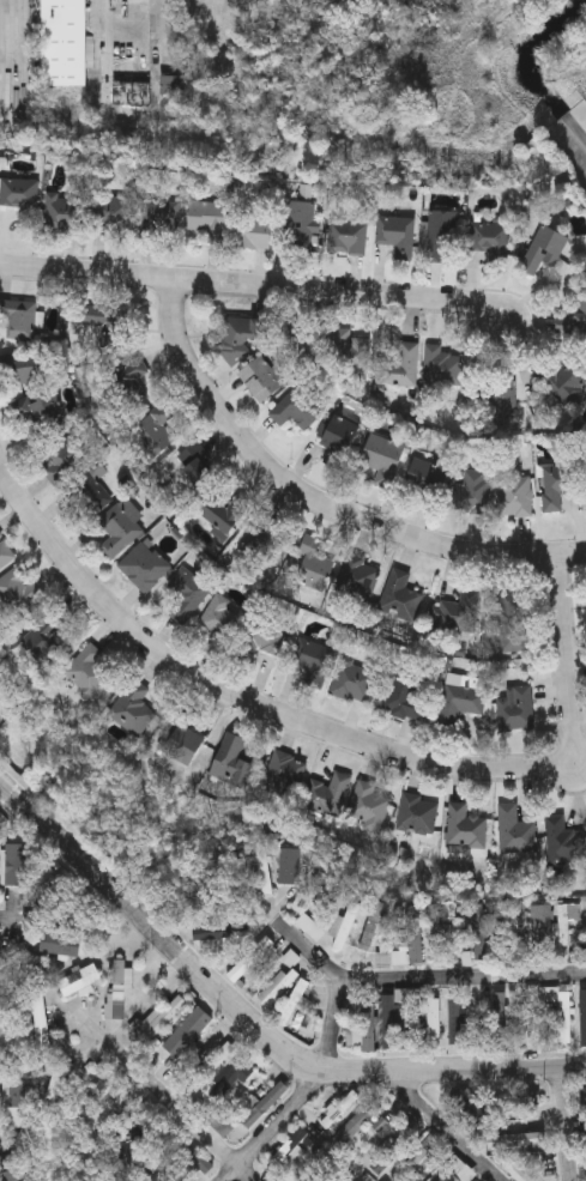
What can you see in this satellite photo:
road: (163, 35)
building: (65, 42)
building: (127, 56)
building: (171, 84)
building: (18, 192)
building: (62, 210)
building: (111, 212)
building: (157, 218)
building: (206, 218)
building: (297, 224)
building: (250, 229)
building: (395, 232)
building: (442, 235)
building: (345, 236)
building: (489, 236)
building: (544, 248)
road: (256, 287)
building: (18, 317)
building: (572, 319)
building: (101, 322)
building: (240, 334)
building: (348, 349)
building: (398, 365)
building: (441, 365)
building: (22, 367)
building: (260, 377)
building: (128, 378)
building: (562, 378)
building: (295, 407)
building: (40, 410)
building: (157, 423)
building: (339, 438)
building: (62, 456)
building: (382, 458)
building: (189, 464)
building: (425, 479)
building: (556, 484)
building: (473, 490)
building: (86, 493)
road: (318, 501)
building: (220, 513)
building: (116, 528)
building: (258, 533)
building: (143, 565)
building: (313, 565)
building: (356, 577)
building: (18, 590)
building: (185, 593)
building: (399, 595)
building: (459, 611)
building: (219, 618)
building: (509, 619)
building: (42, 632)
building: (258, 637)
building: (312, 661)
building: (85, 670)
building: (352, 679)
building: (406, 694)
building: (459, 702)
building: (514, 707)
building: (132, 708)
road: (332, 732)
building: (180, 738)
building: (232, 761)
building: (284, 775)
building: (327, 794)
building: (367, 804)
building: (416, 813)
building: (465, 826)
building: (514, 830)
building: (564, 841)
building: (19, 865)
building: (292, 866)
building: (50, 894)
building: (349, 917)
road: (4, 919)
building: (377, 919)
building: (567, 921)
building: (310, 927)
building: (546, 928)
building: (215, 933)
building: (437, 933)
building: (479, 933)
building: (409, 941)
building: (61, 944)
building: (250, 958)
building: (79, 980)
road: (412, 981)
building: (119, 986)
building: (277, 986)
building: (294, 1001)
building: (352, 1009)
building: (162, 1016)
road: (254, 1016)
building: (561, 1017)
building: (500, 1018)
building: (582, 1018)
building: (458, 1020)
building: (431, 1023)
building: (521, 1023)
building: (393, 1026)
building: (188, 1031)
building: (362, 1031)
building: (232, 1078)
building: (19, 1090)
building: (53, 1090)
road: (306, 1094)
road: (170, 1097)
building: (90, 1100)
building: (266, 1104)
building: (338, 1109)
road: (564, 1121)
building: (357, 1122)
building: (409, 1122)
road: (446, 1126)
building: (539, 1137)
building: (177, 1138)
building: (585, 1138)
road: (23, 1140)
building: (129, 1147)
building: (418, 1158)
building: (549, 1167)
building: (515, 1169)
building: (452, 1171)
building: (307, 1173)
building: (11, 1174)
building: (345, 1175)

